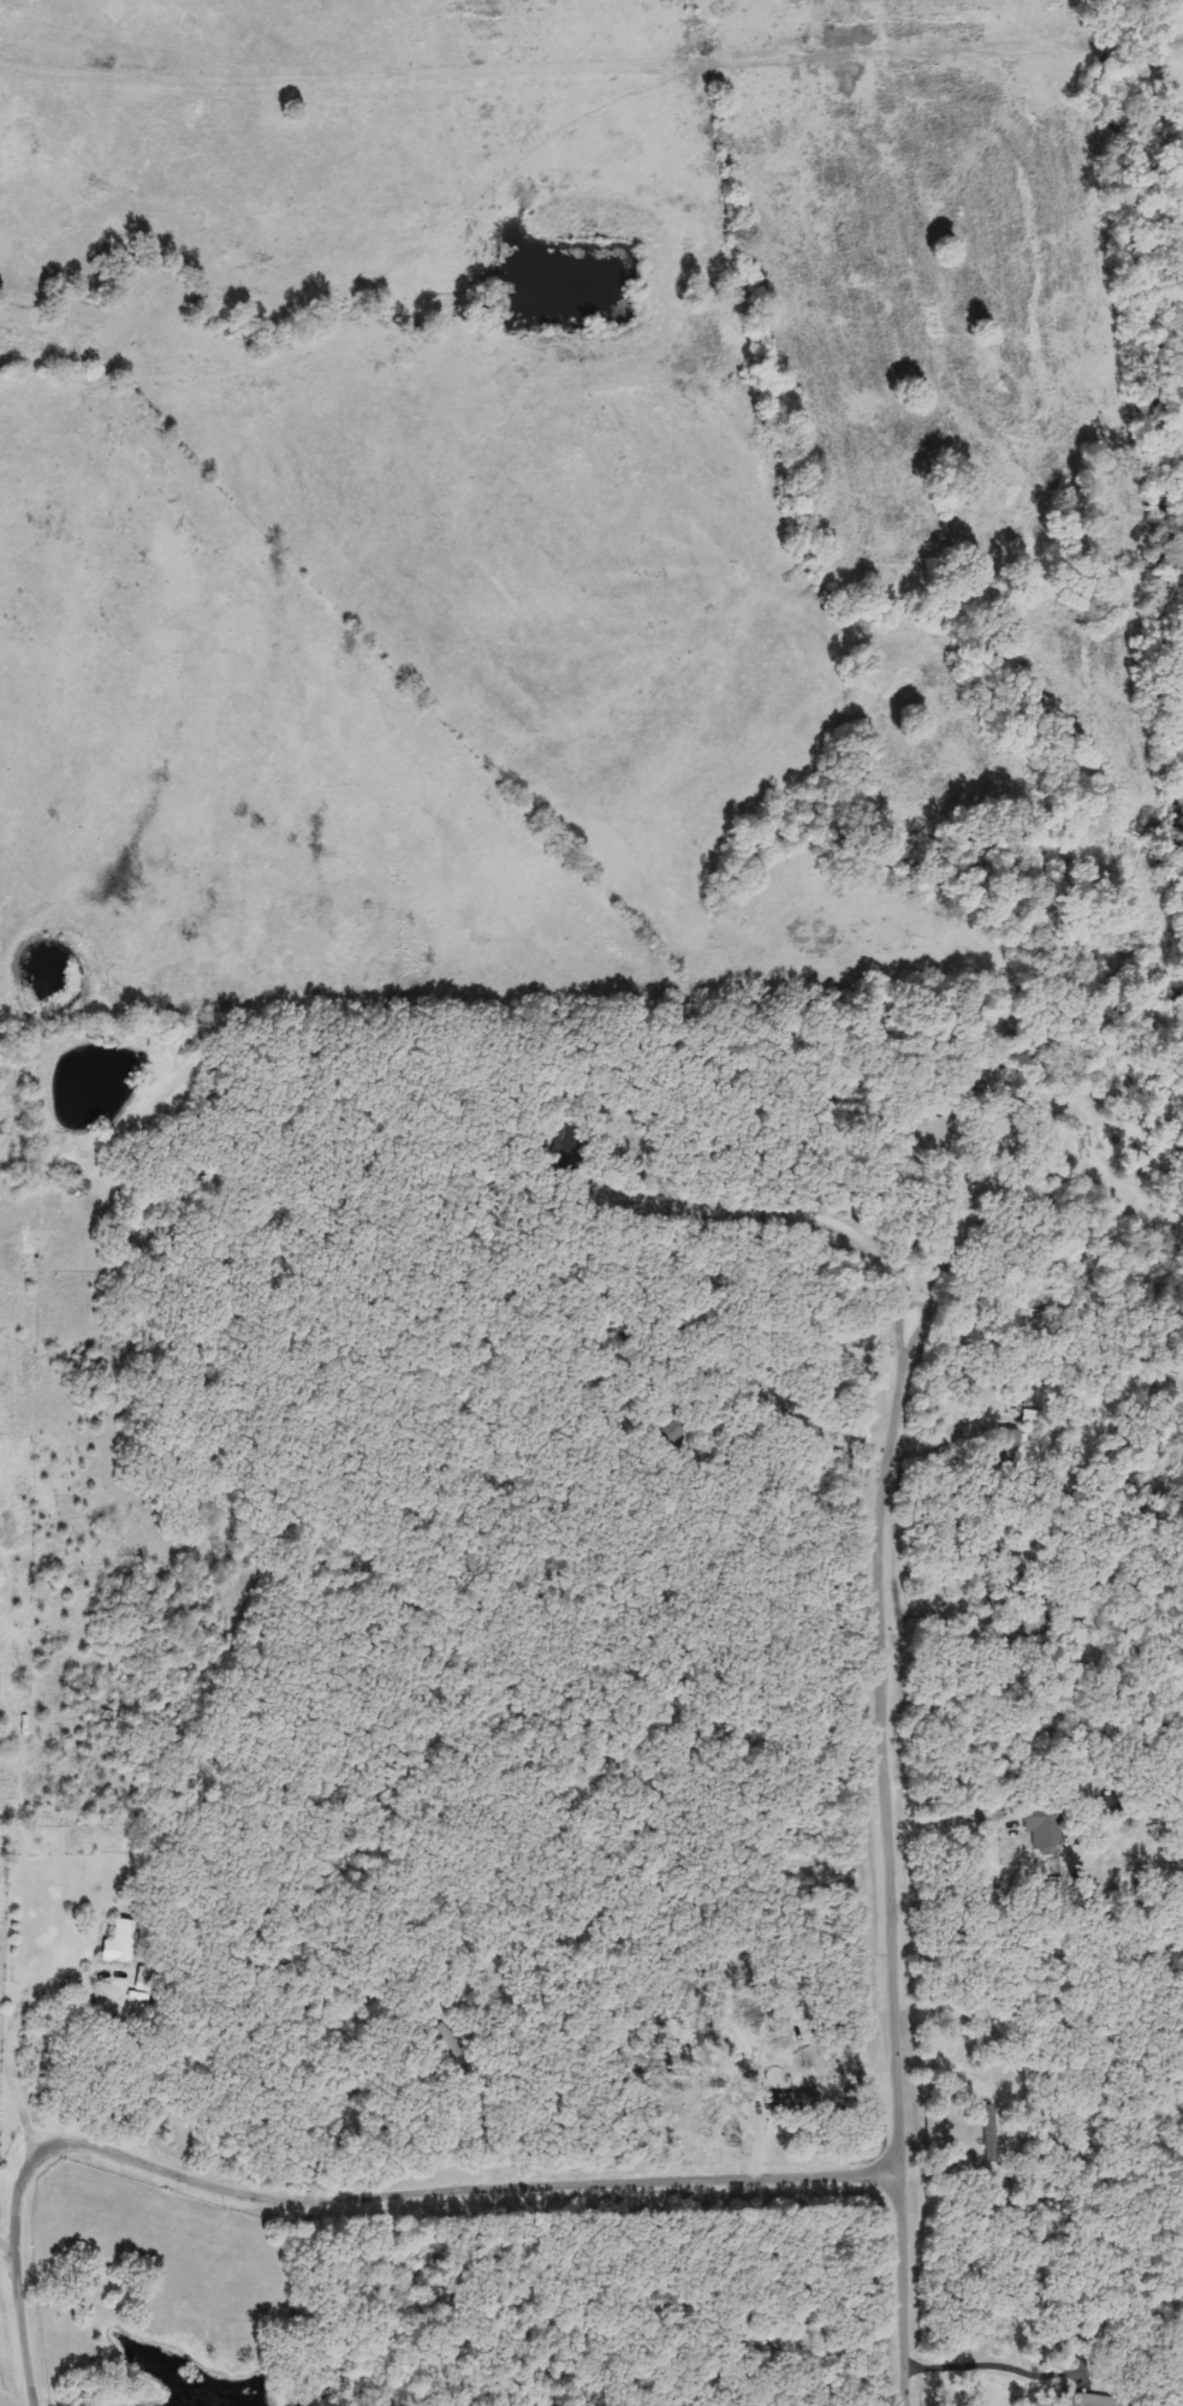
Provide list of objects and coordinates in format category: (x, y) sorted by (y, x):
road: (786, 1210)
road: (957, 1229)
building: (1010, 1448)
building: (1033, 1616)
building: (1040, 1826)
road: (887, 1855)
building: (117, 1943)
road: (19, 2048)
road: (344, 2199)
road: (12, 2250)
road: (997, 2366)
building: (1098, 2400)

